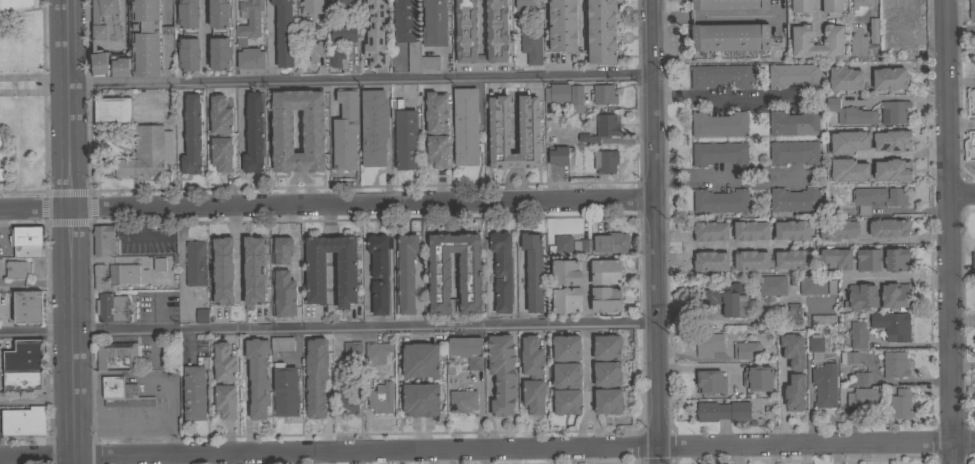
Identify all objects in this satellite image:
building: (339, 3)
building: (728, 4)
building: (15, 5)
building: (524, 5)
building: (369, 6)
building: (800, 6)
building: (858, 6)
building: (312, 7)
building: (831, 8)
building: (897, 9)
building: (972, 9)
building: (207, 14)
road: (716, 15)
building: (105, 19)
building: (434, 22)
road: (582, 23)
building: (563, 25)
building: (345, 28)
building: (601, 31)
road: (203, 32)
building: (284, 33)
building: (466, 33)
building: (189, 34)
building: (219, 34)
building: (249, 35)
building: (410, 36)
building: (730, 36)
building: (863, 40)
building: (905, 40)
building: (797, 41)
road: (67, 43)
building: (532, 44)
building: (135, 45)
building: (316, 50)
building: (209, 54)
building: (337, 57)
road: (900, 62)
building: (793, 75)
building: (721, 76)
building: (889, 78)
building: (845, 79)
road: (360, 82)
building: (557, 93)
building: (576, 94)
building: (604, 94)
road: (726, 98)
building: (972, 106)
building: (112, 109)
building: (895, 111)
building: (436, 112)
building: (850, 114)
building: (793, 123)
building: (498, 125)
building: (718, 125)
building: (465, 126)
building: (374, 127)
building: (602, 128)
building: (313, 130)
building: (345, 130)
building: (221, 133)
building: (254, 133)
building: (853, 133)
building: (192, 134)
building: (832, 134)
building: (405, 135)
building: (1, 141)
building: (886, 145)
building: (972, 145)
building: (437, 150)
building: (148, 152)
building: (794, 152)
building: (720, 153)
building: (560, 155)
building: (549, 157)
building: (605, 160)
building: (840, 171)
building: (1, 174)
building: (857, 174)
building: (892, 174)
road: (733, 176)
road: (962, 195)
building: (876, 197)
building: (794, 199)
building: (721, 200)
road: (327, 205)
road: (2, 223)
building: (887, 228)
building: (791, 229)
building: (838, 229)
road: (655, 231)
building: (749, 231)
building: (708, 232)
road: (949, 232)
road: (674, 236)
road: (128, 239)
building: (365, 239)
building: (103, 240)
building: (26, 241)
building: (611, 242)
building: (561, 244)
building: (580, 246)
road: (746, 246)
building: (223, 249)
road: (239, 252)
road: (674, 256)
building: (835, 257)
building: (771, 260)
building: (867, 260)
building: (894, 260)
building: (708, 261)
building: (972, 262)
building: (159, 263)
building: (195, 263)
building: (18, 269)
building: (223, 270)
building: (289, 270)
building: (254, 271)
building: (503, 271)
building: (534, 271)
building: (406, 272)
building: (380, 273)
building: (469, 273)
building: (524, 274)
road: (71, 275)
building: (119, 275)
road: (897, 275)
building: (315, 277)
building: (772, 284)
building: (566, 285)
building: (605, 285)
building: (811, 285)
building: (830, 287)
building: (861, 296)
building: (896, 296)
building: (281, 297)
building: (726, 299)
building: (28, 306)
building: (112, 307)
building: (794, 313)
building: (201, 314)
road: (964, 317)
building: (823, 321)
building: (892, 325)
road: (327, 331)
building: (858, 334)
building: (816, 342)
building: (785, 343)
building: (708, 344)
building: (280, 345)
building: (566, 347)
building: (607, 347)
building: (315, 349)
building: (468, 350)
building: (747, 350)
building: (353, 351)
building: (376, 351)
building: (25, 355)
building: (117, 356)
building: (849, 357)
building: (522, 359)
building: (420, 360)
building: (214, 364)
building: (894, 365)
building: (502, 373)
road: (590, 373)
building: (607, 373)
building: (567, 374)
building: (533, 375)
building: (258, 376)
building: (758, 378)
building: (862, 378)
building: (246, 380)
building: (24, 381)
building: (225, 381)
building: (711, 381)
building: (825, 384)
building: (791, 386)
building: (285, 390)
building: (315, 390)
building: (195, 391)
building: (122, 393)
road: (166, 397)
building: (865, 397)
building: (345, 398)
building: (381, 398)
building: (421, 399)
building: (463, 400)
building: (567, 401)
building: (608, 401)
building: (898, 405)
building: (724, 411)
road: (588, 417)
building: (23, 421)
road: (169, 436)
road: (487, 448)
road: (483, 456)
road: (444, 457)
road: (188, 459)

